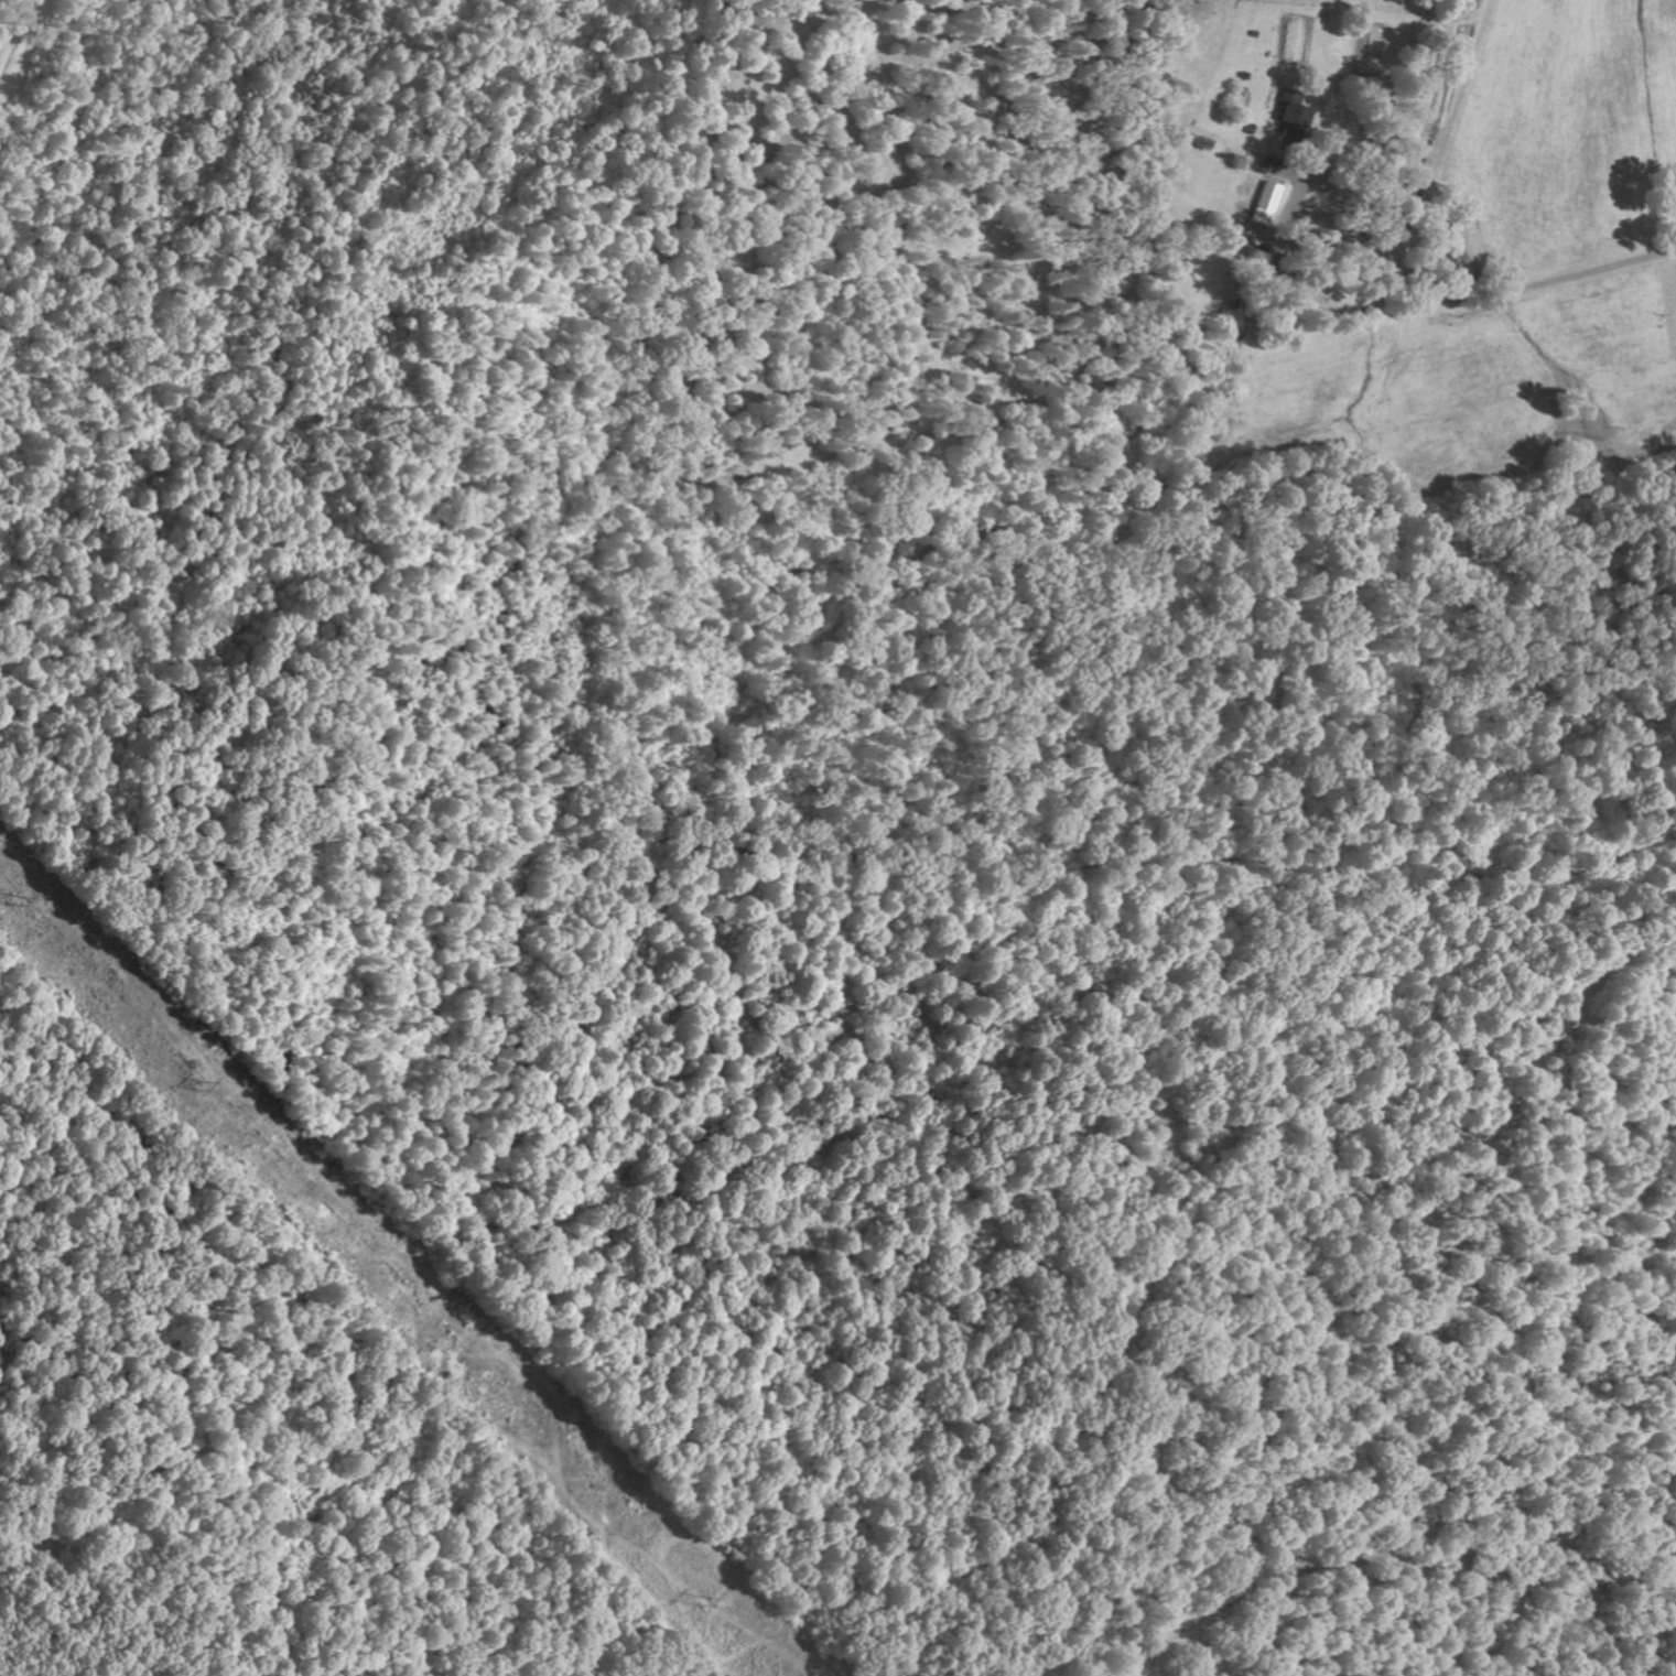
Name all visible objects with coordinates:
building: (1265, 196)
road: (1474, 296)

